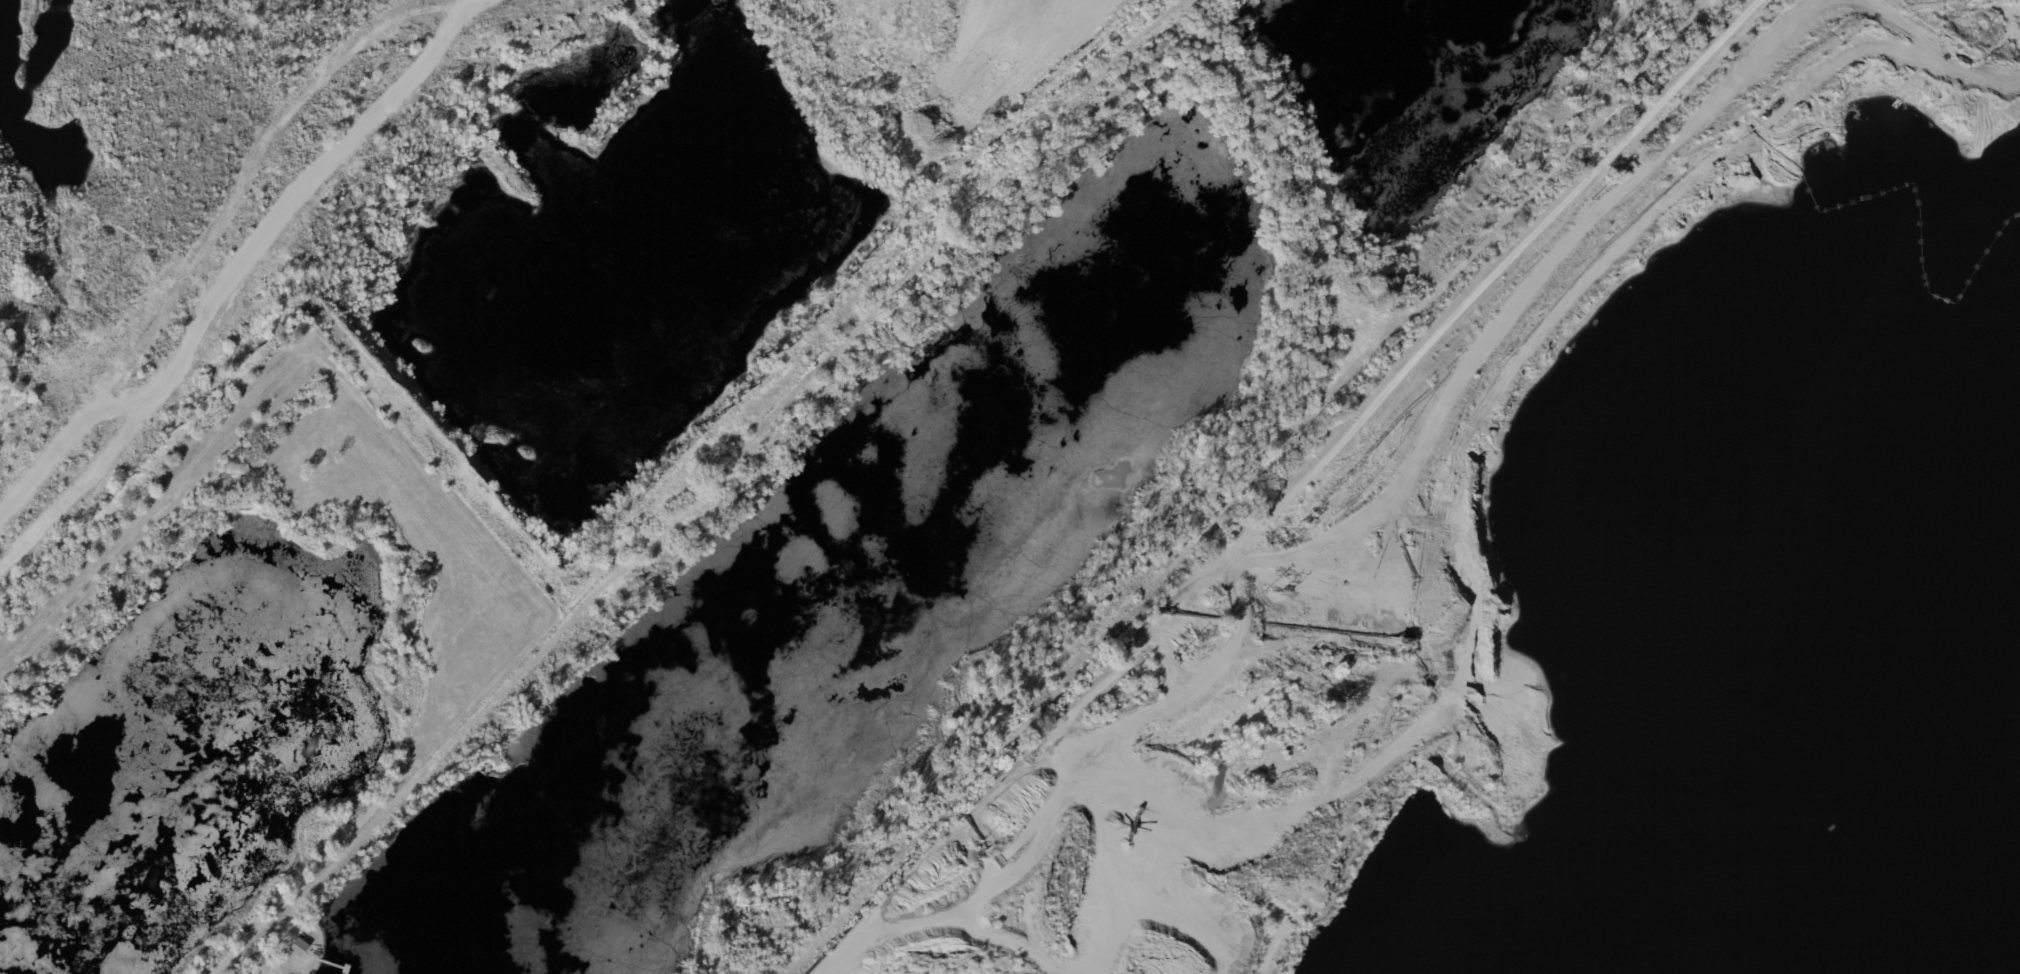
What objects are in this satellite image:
building: (596, 49)
quarry: (468, 214)
road: (171, 486)
road: (1067, 797)
quarry: (1501, 799)
building: (996, 857)
building: (298, 947)

